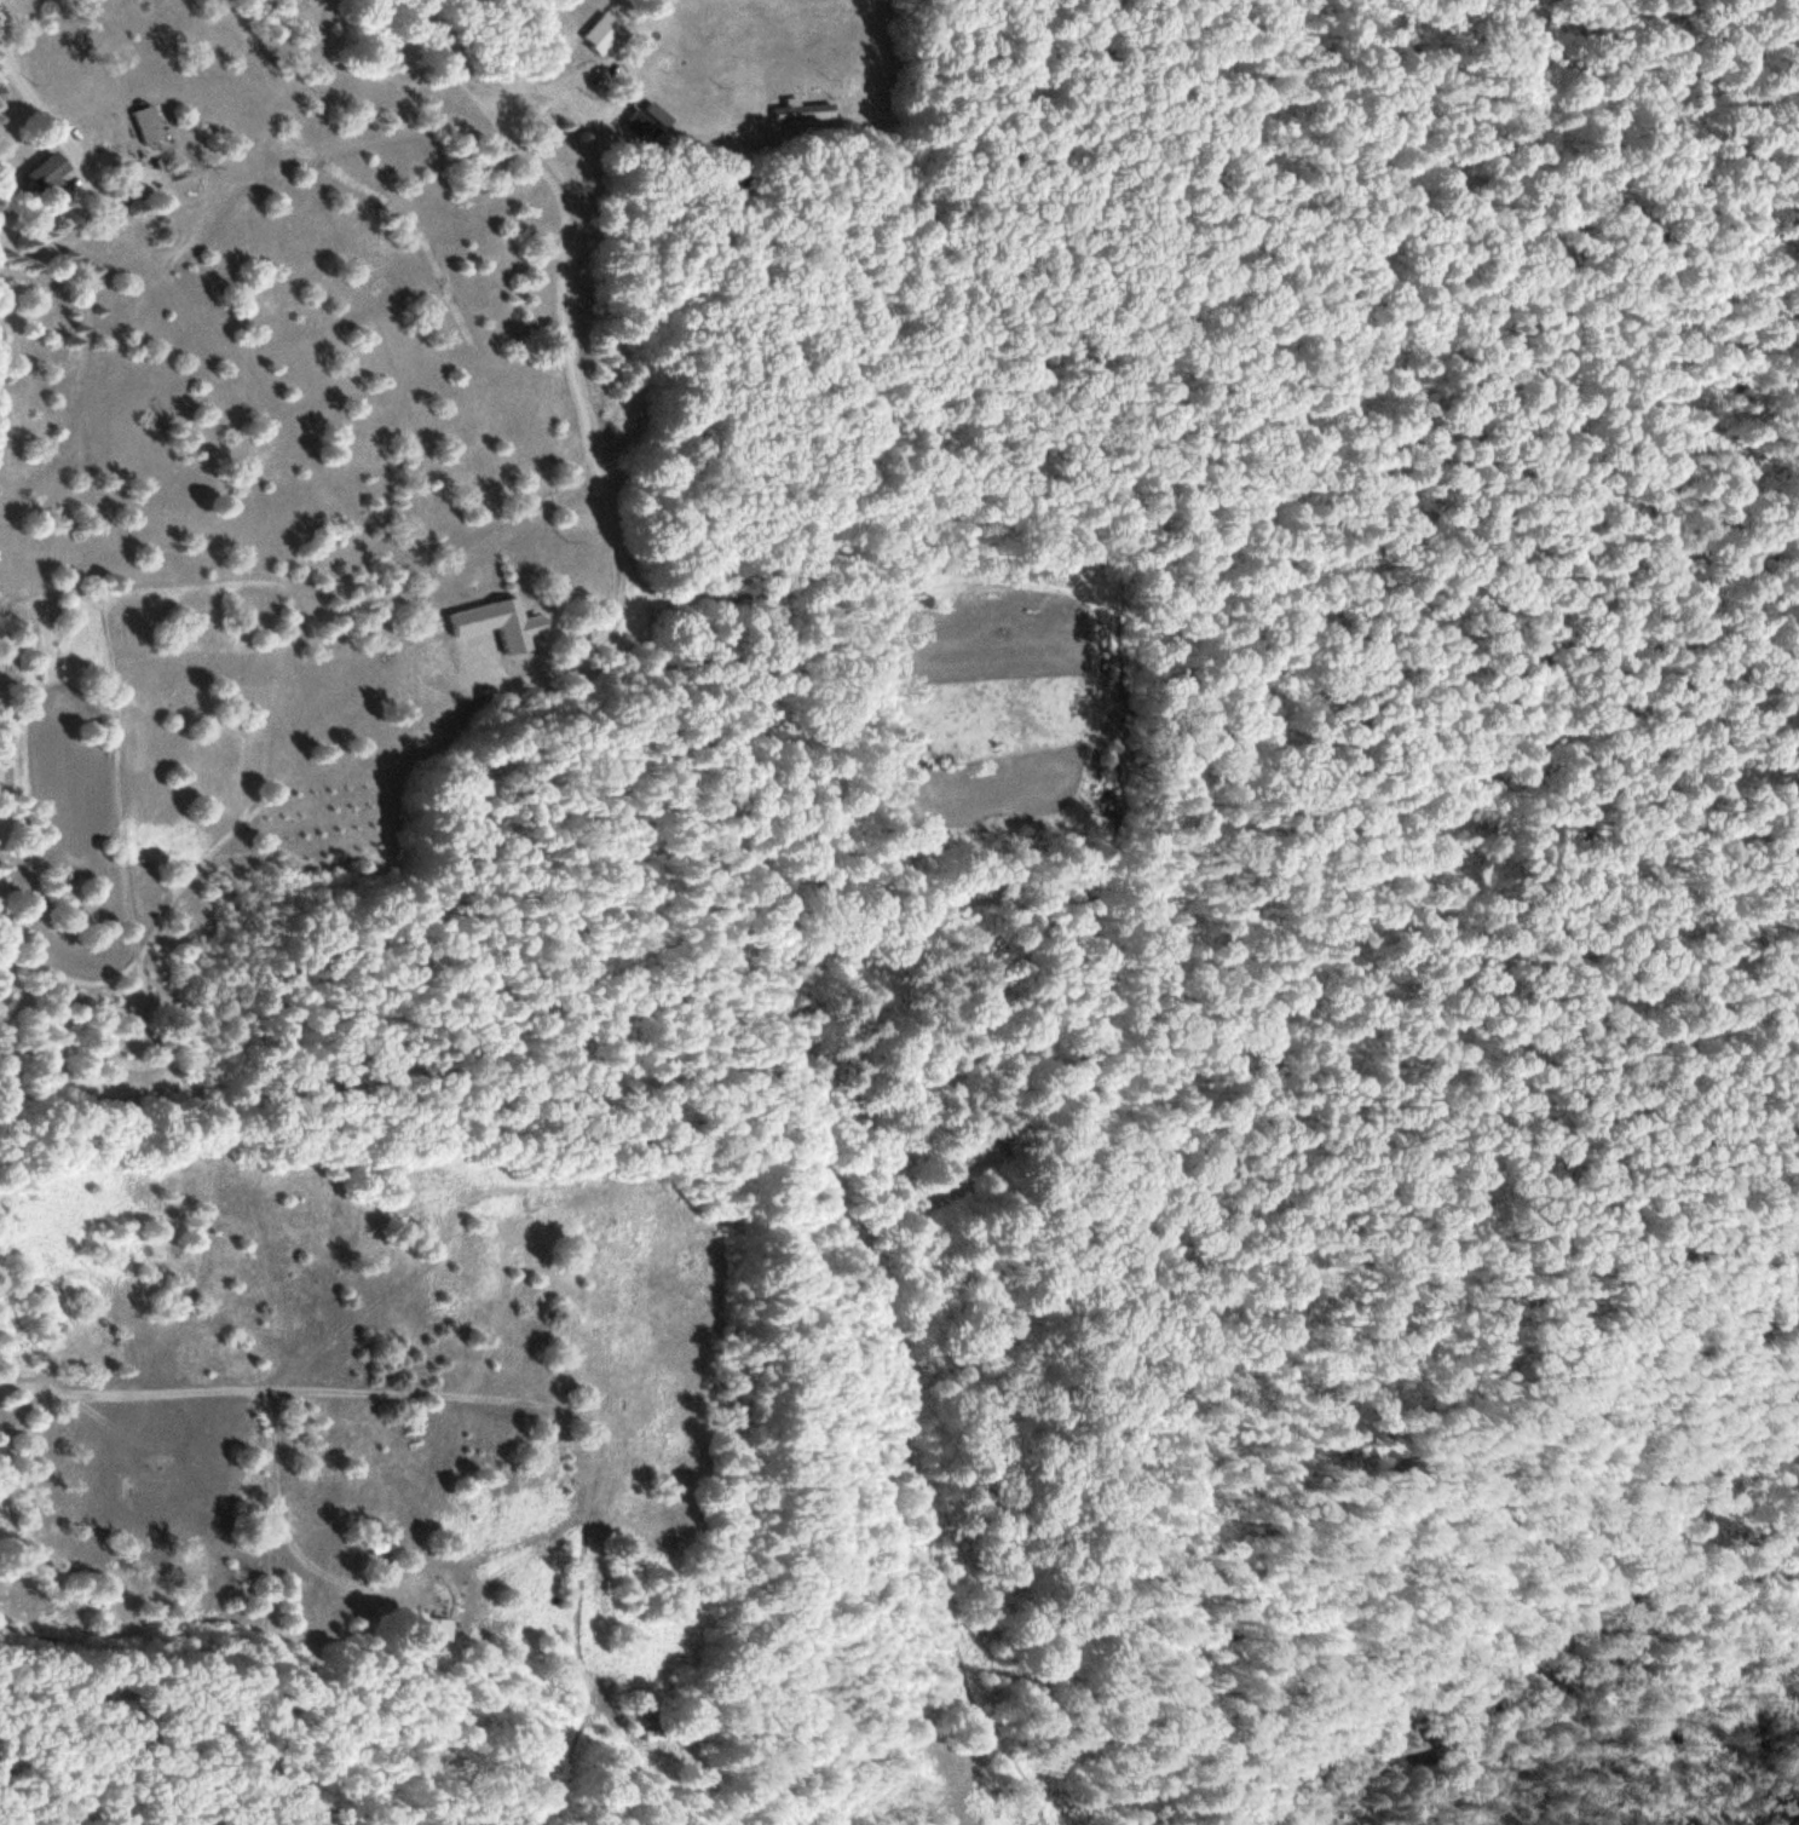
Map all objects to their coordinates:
building: (600, 35)
building: (646, 122)
building: (146, 125)
building: (41, 173)
building: (494, 623)
building: (392, 824)
building: (436, 1629)
road: (237, 1648)
building: (661, 1733)

